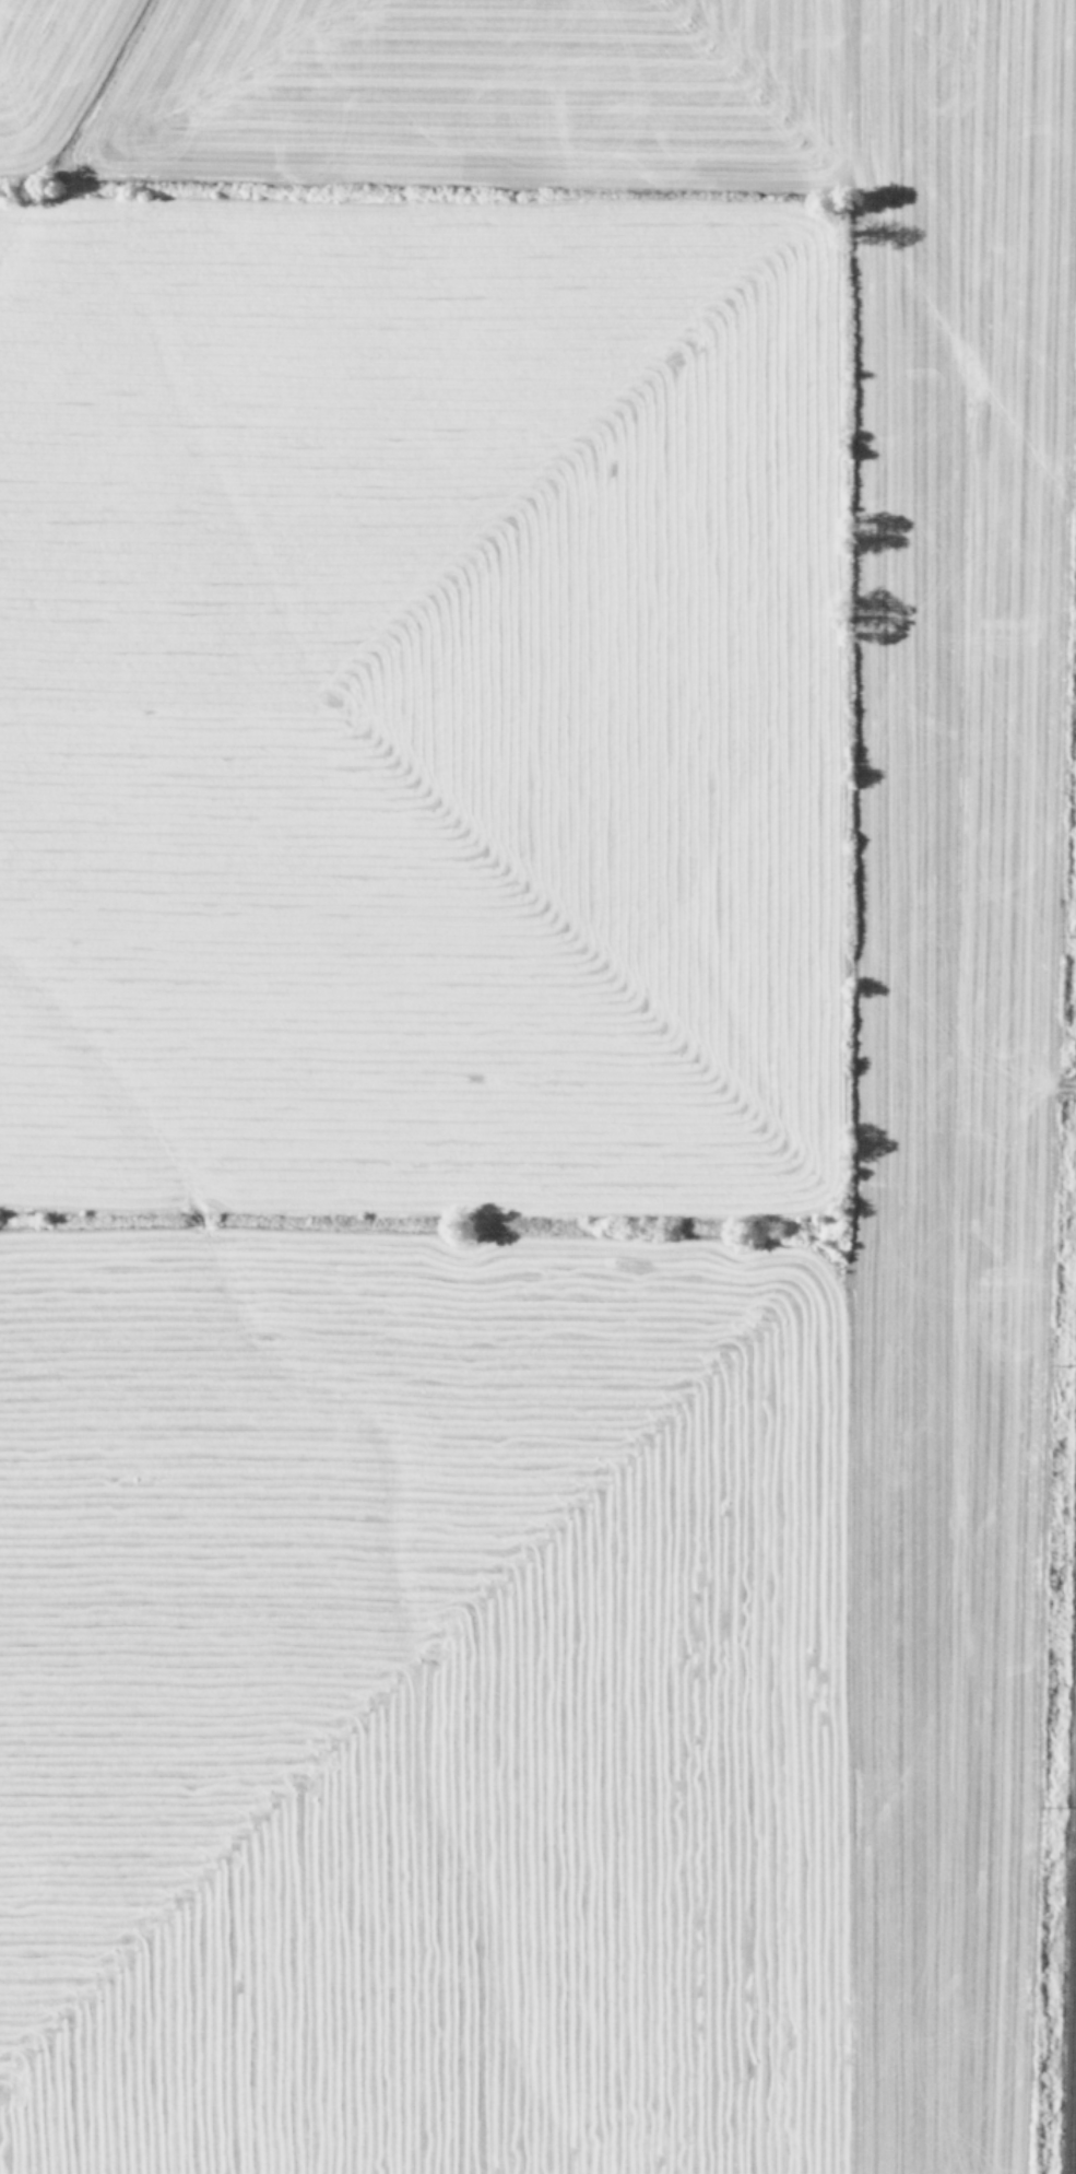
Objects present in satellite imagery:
crop: (522, 1079)
railway: (1072, 2012)

